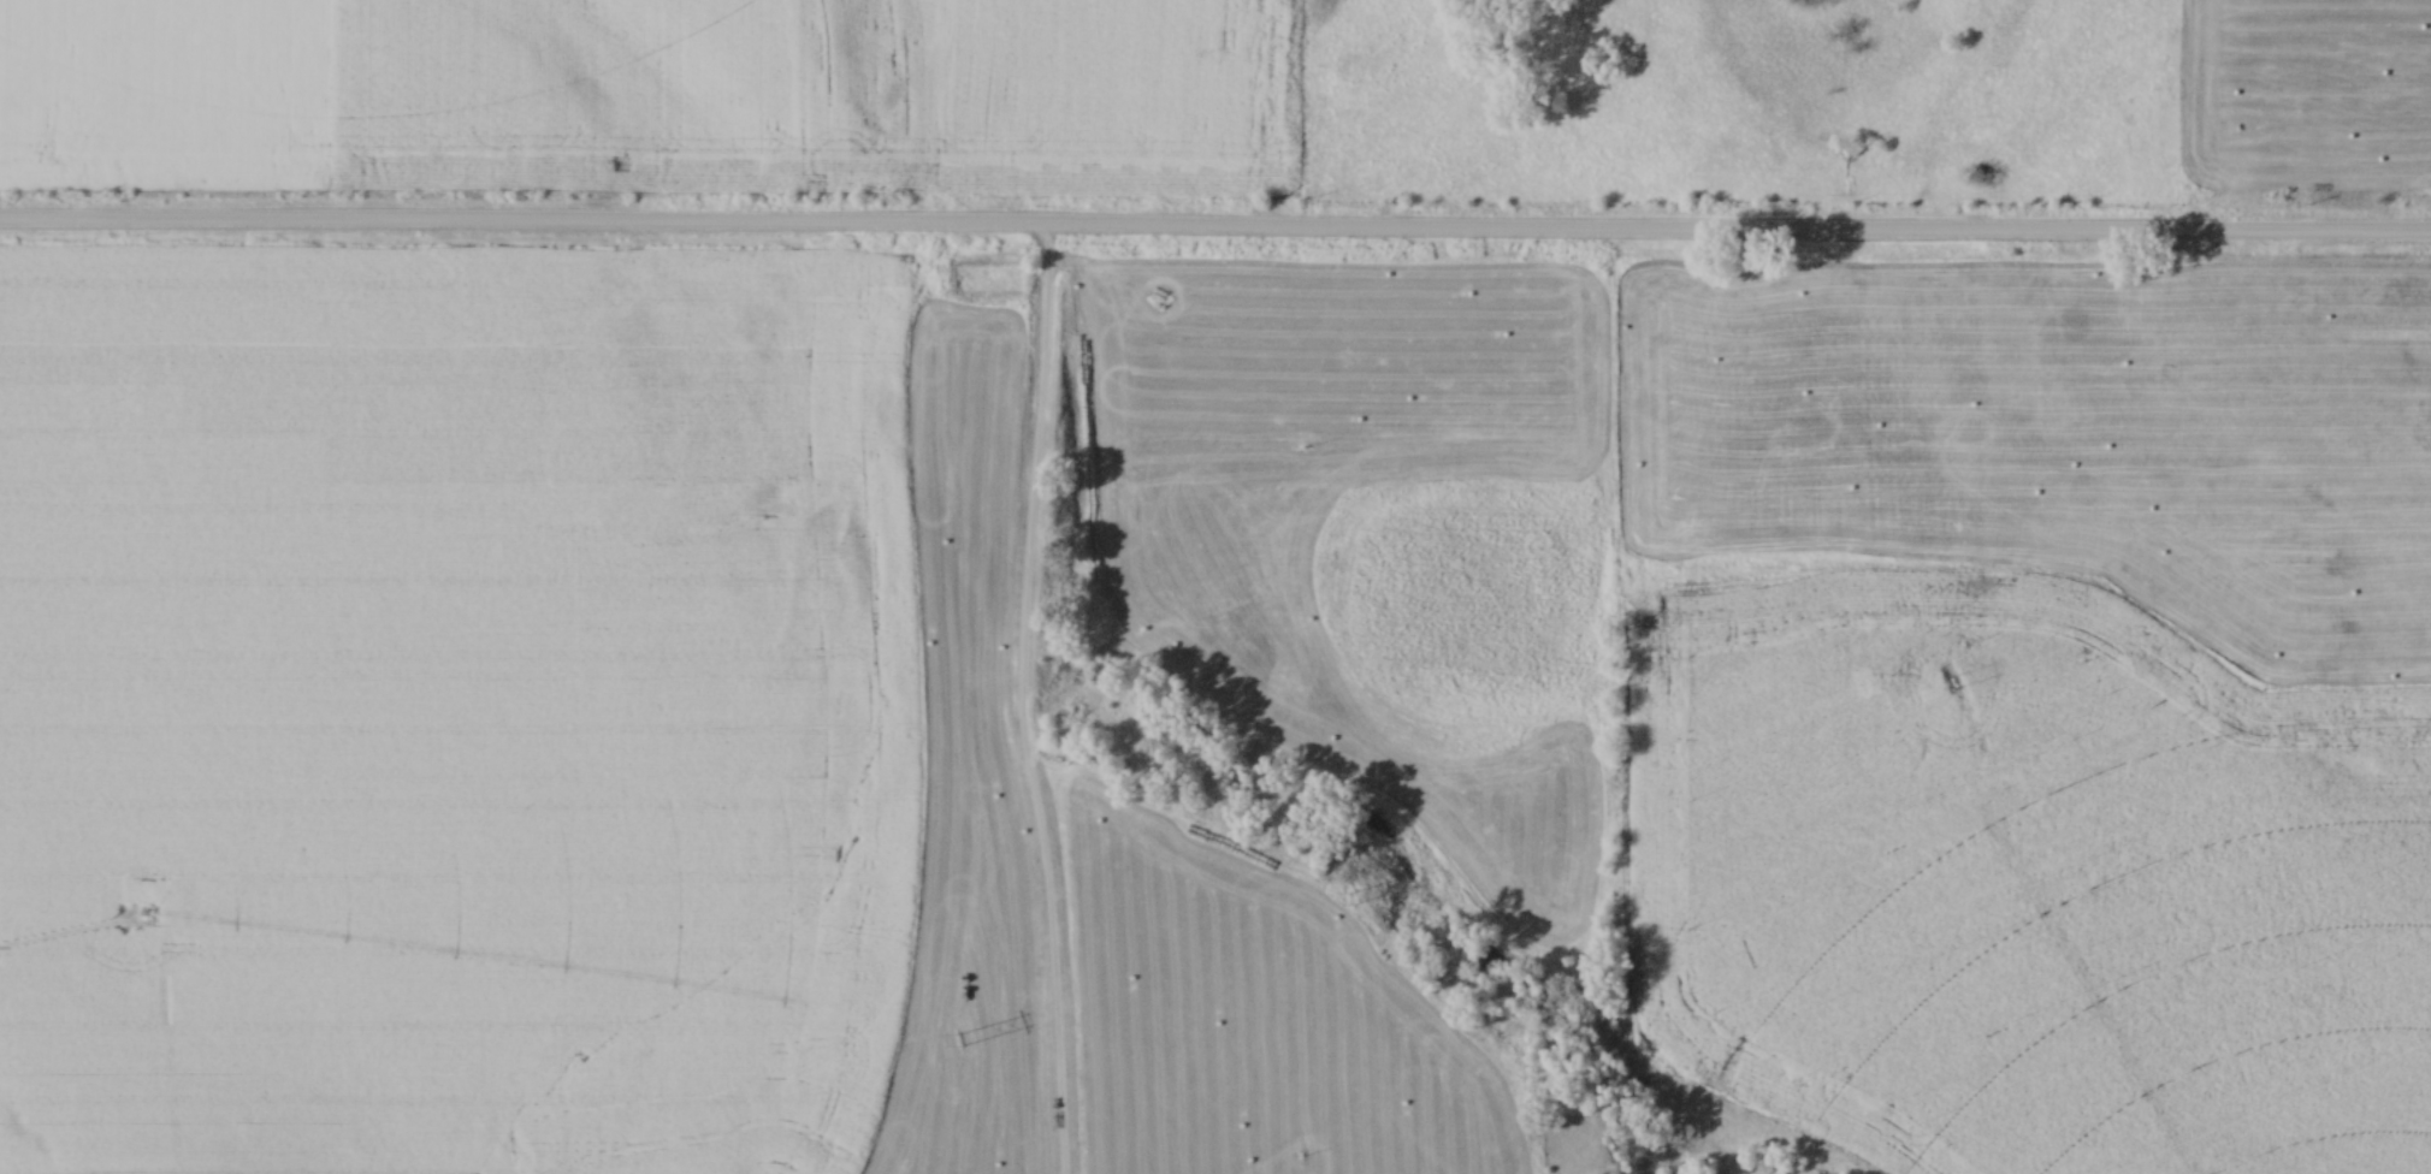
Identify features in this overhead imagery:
road: (1214, 235)
power tower: (1947, 684)
road: (1017, 704)
power tower: (1350, 899)
power tower: (962, 1040)

